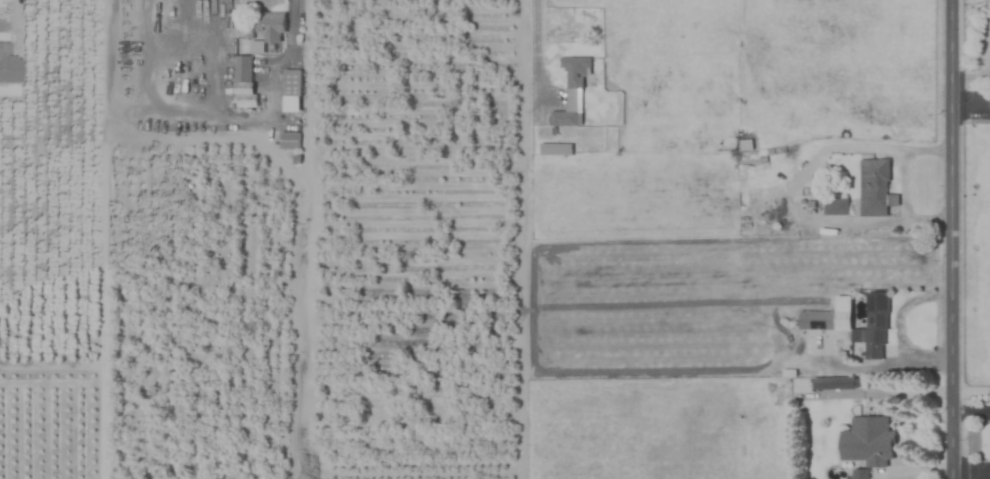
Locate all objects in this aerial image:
building: (270, 30)
road: (289, 41)
road: (536, 48)
building: (2, 55)
building: (243, 81)
building: (291, 82)
building: (570, 89)
building: (288, 140)
building: (554, 149)
building: (872, 187)
building: (835, 206)
road: (951, 239)
building: (815, 319)
building: (874, 326)
building: (833, 382)
building: (867, 441)
road: (972, 468)

